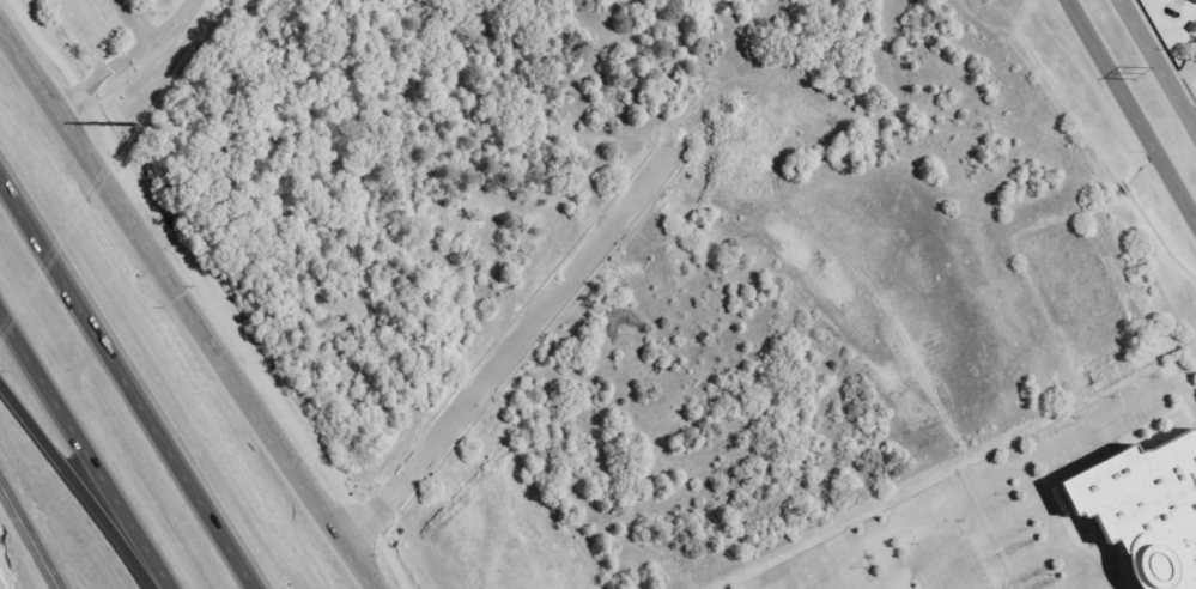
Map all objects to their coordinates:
building: (1194, 0)
road: (166, 19)
road: (120, 57)
road: (1158, 66)
power tower: (1136, 74)
road: (1130, 113)
road: (187, 304)
road: (511, 352)
road: (127, 383)
road: (84, 450)
road: (77, 486)
building: (1145, 511)
road: (29, 535)
parking lot: (946, 539)

